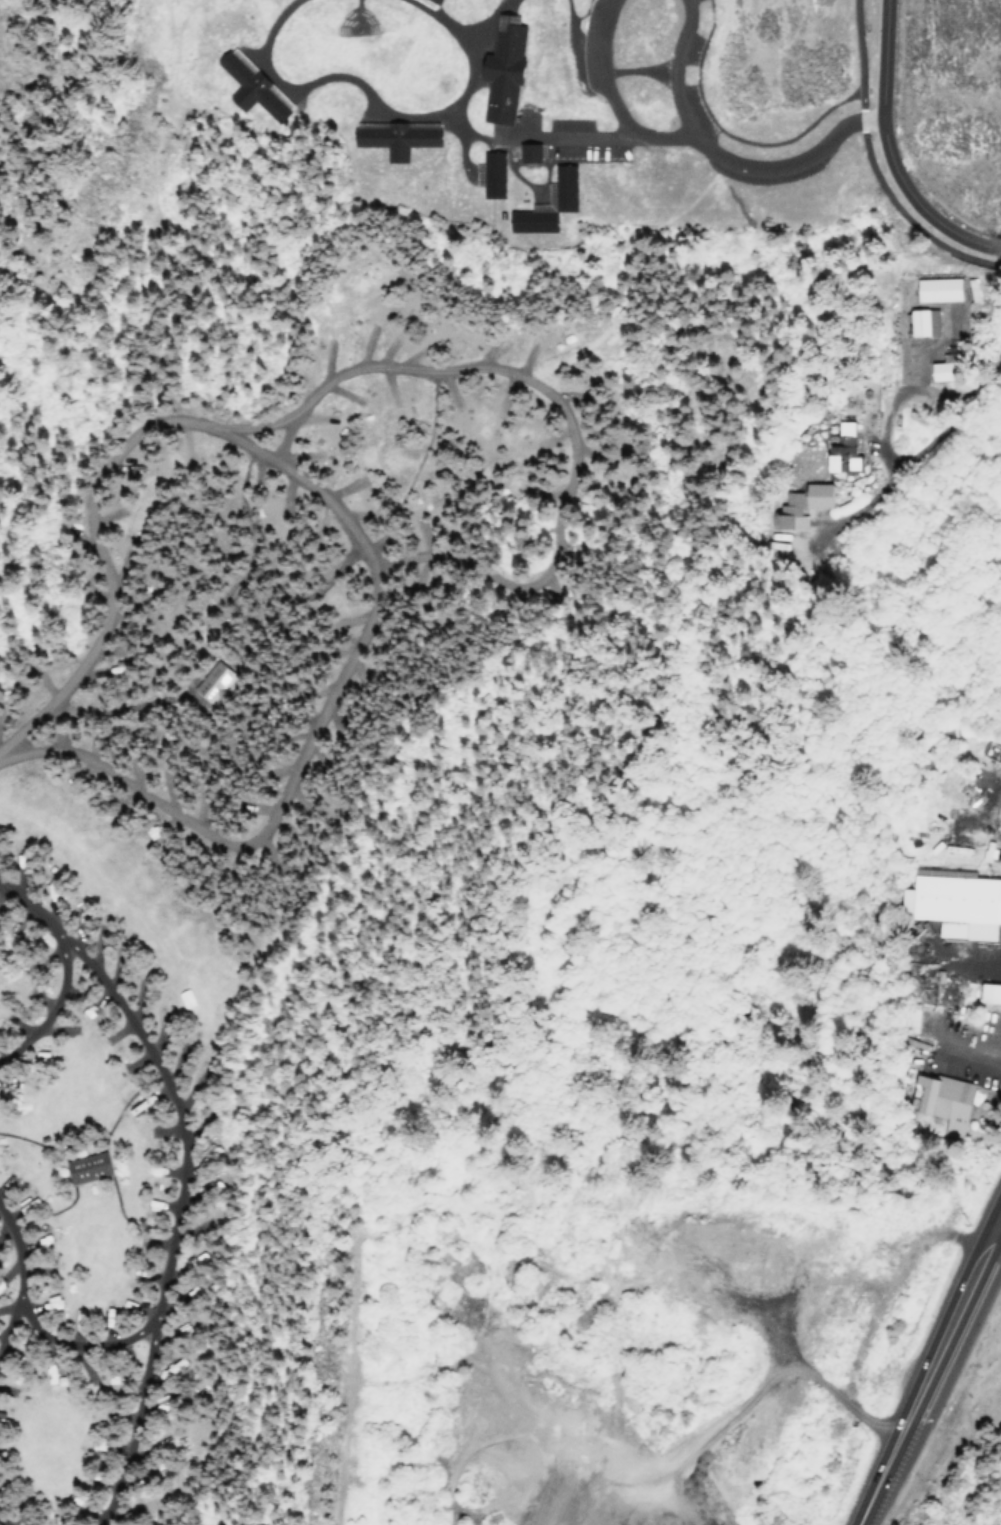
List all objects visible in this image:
building: (436, 0)
building: (441, 0)
building: (429, 2)
road: (259, 16)
road: (481, 18)
building: (503, 67)
road: (637, 68)
road: (673, 68)
building: (250, 85)
road: (610, 97)
road: (379, 101)
road: (731, 132)
road: (570, 133)
building: (397, 134)
road: (462, 138)
building: (529, 150)
road: (887, 153)
road: (789, 165)
road: (872, 167)
building: (494, 172)
road: (153, 179)
building: (566, 182)
building: (531, 218)
road: (84, 227)
road: (19, 280)
building: (932, 289)
building: (918, 322)
road: (101, 346)
building: (934, 371)
road: (540, 390)
building: (838, 450)
road: (915, 454)
building: (800, 504)
road: (347, 529)
building: (214, 679)
building: (998, 823)
building: (941, 872)
building: (959, 903)
road: (353, 935)
road: (60, 967)
road: (951, 991)
building: (987, 993)
building: (910, 1017)
road: (967, 1057)
building: (942, 1099)
road: (111, 1120)
building: (87, 1165)
road: (69, 1176)
road: (116, 1212)
road: (171, 1233)
road: (6, 1322)
road: (253, 1332)
road: (927, 1371)
road: (131, 1425)
road: (340, 1449)
road: (635, 1472)
road: (2, 1522)

